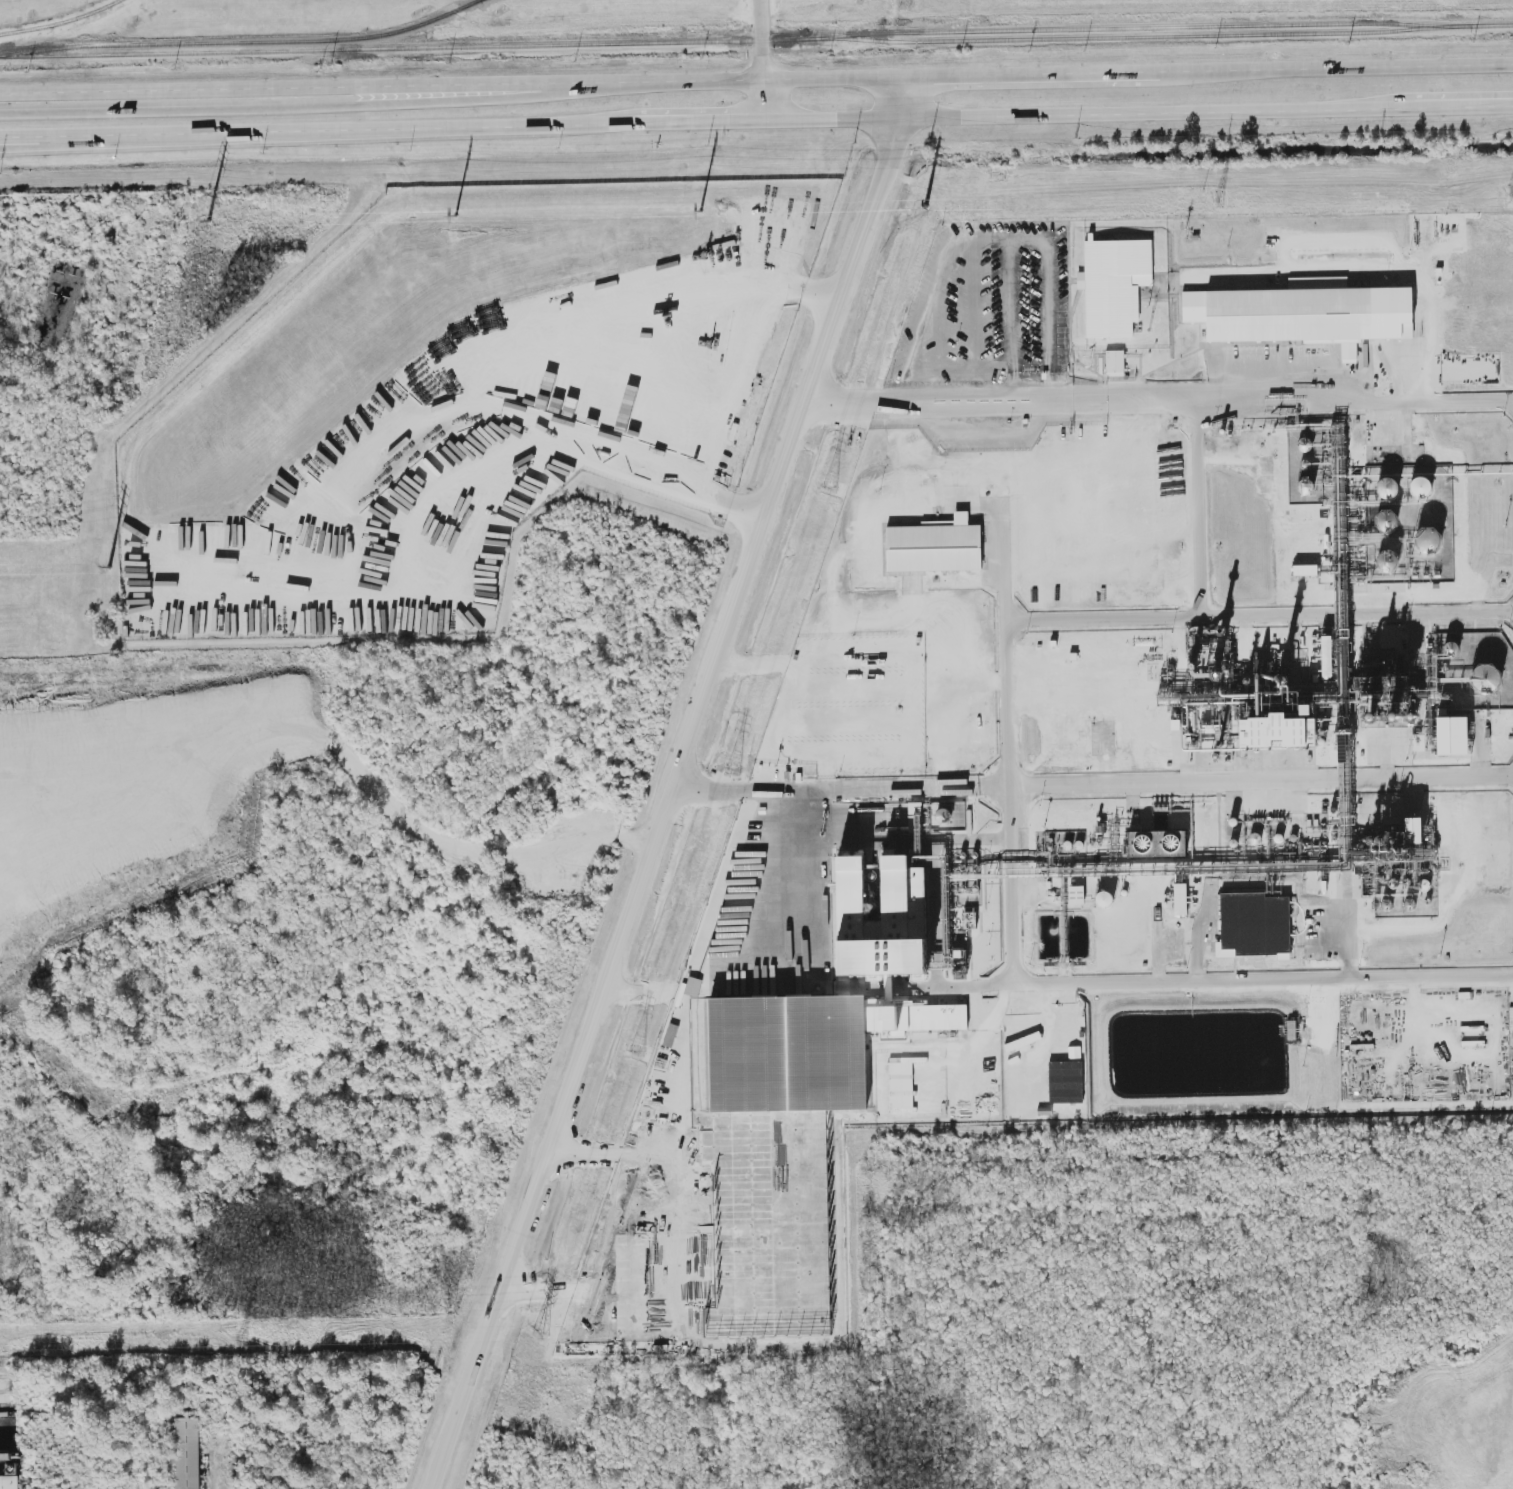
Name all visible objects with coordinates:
railway: (62, 22)
railway: (1136, 37)
road: (761, 40)
railway: (756, 41)
railway: (242, 42)
road: (756, 81)
road: (761, 101)
road: (303, 107)
road: (756, 121)
road: (6, 137)
power tower: (1512, 193)
power tower: (1219, 199)
power tower: (925, 204)
road: (1026, 236)
road: (992, 237)
road: (949, 261)
building: (1114, 285)
building: (1304, 313)
road: (975, 321)
road: (560, 333)
road: (1429, 337)
road: (938, 348)
building: (1115, 362)
road: (1457, 369)
road: (1162, 395)
road: (578, 447)
power tower: (830, 487)
road: (1200, 502)
building: (1429, 541)
building: (935, 546)
road: (1004, 557)
building: (1305, 570)
building: (1488, 677)
road: (1340, 683)
building: (1276, 732)
building: (1454, 735)
power tower: (734, 769)
road: (677, 784)
road: (1095, 784)
road: (1012, 793)
building: (1157, 843)
road: (451, 845)
road: (795, 872)
building: (1076, 895)
building: (1180, 899)
building: (1104, 900)
building: (970, 918)
building: (1254, 926)
building: (941, 949)
road: (974, 984)
building: (832, 1006)
power tower: (637, 1052)
building: (1066, 1082)
building: (656, 1153)
road: (654, 1244)
power tower: (540, 1334)
power tower: (242, 1337)
railway: (9, 1376)
railway: (9, 1391)
building: (187, 1453)

